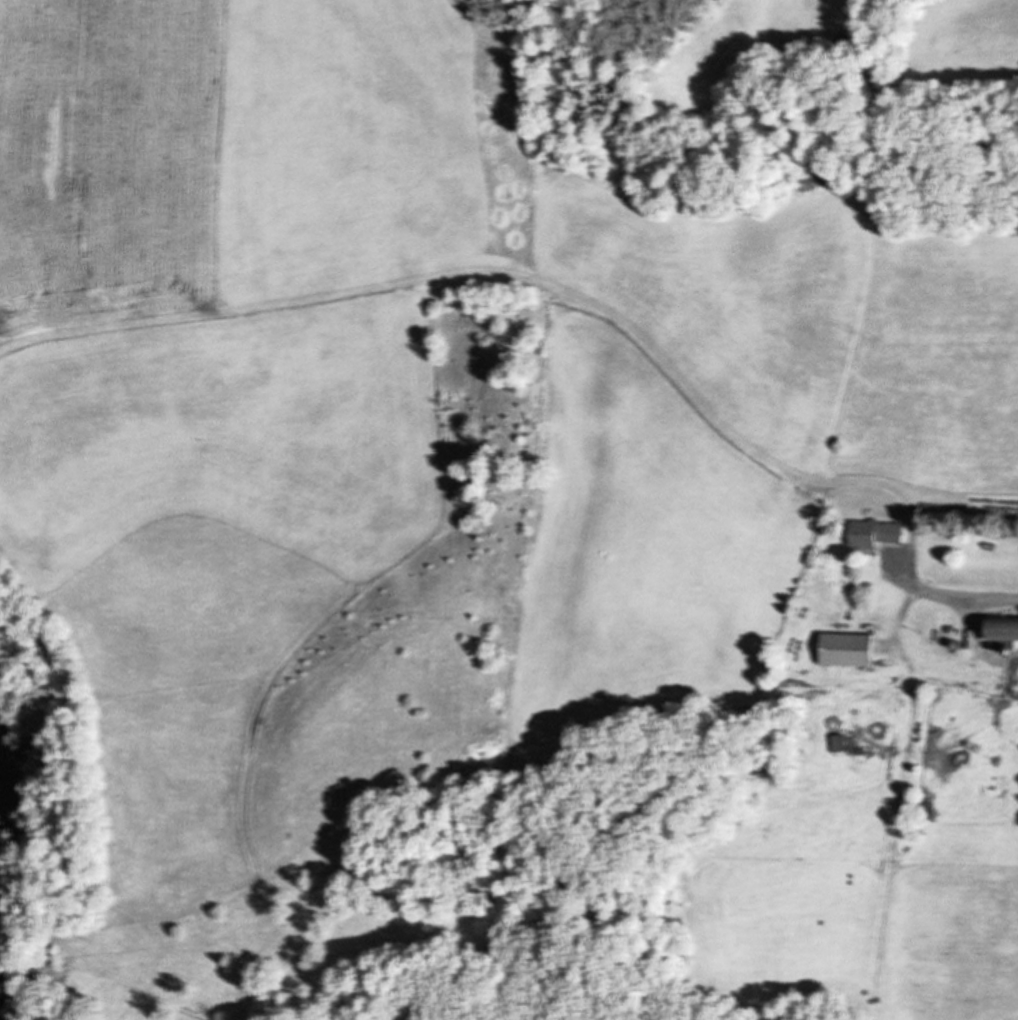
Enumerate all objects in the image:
building: (871, 533)
road: (1006, 601)
building: (996, 629)
building: (841, 649)
building: (833, 743)
river: (5, 814)

